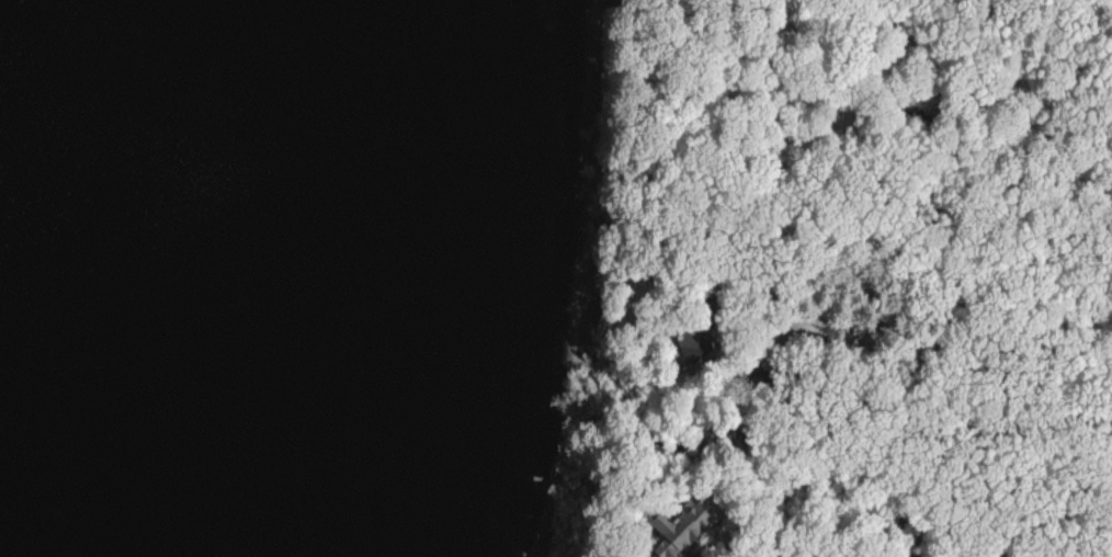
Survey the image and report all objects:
road: (860, 135)
road: (929, 320)
road: (796, 356)
road: (1010, 444)
building: (676, 527)

